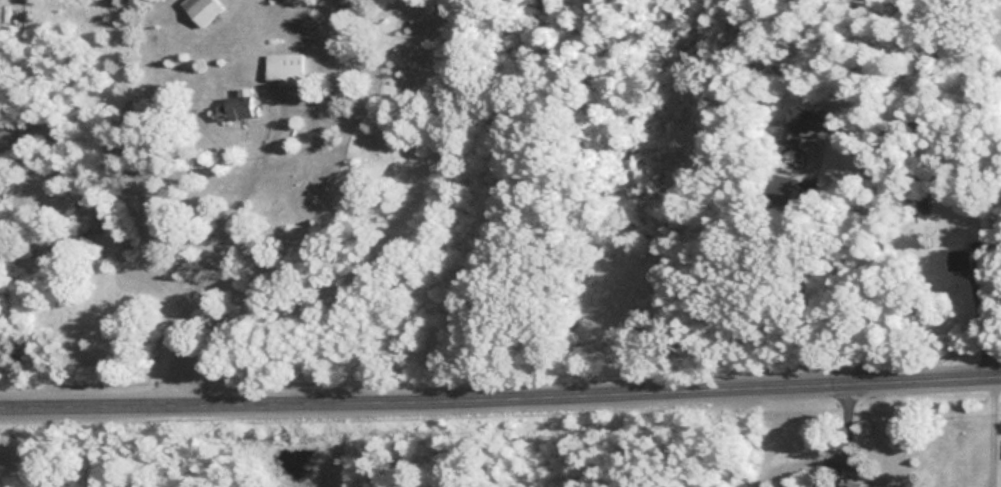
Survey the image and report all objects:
building: (201, 10)
building: (285, 68)
building: (235, 105)
building: (806, 125)
road: (211, 246)
building: (962, 260)
road: (500, 391)
building: (865, 485)

